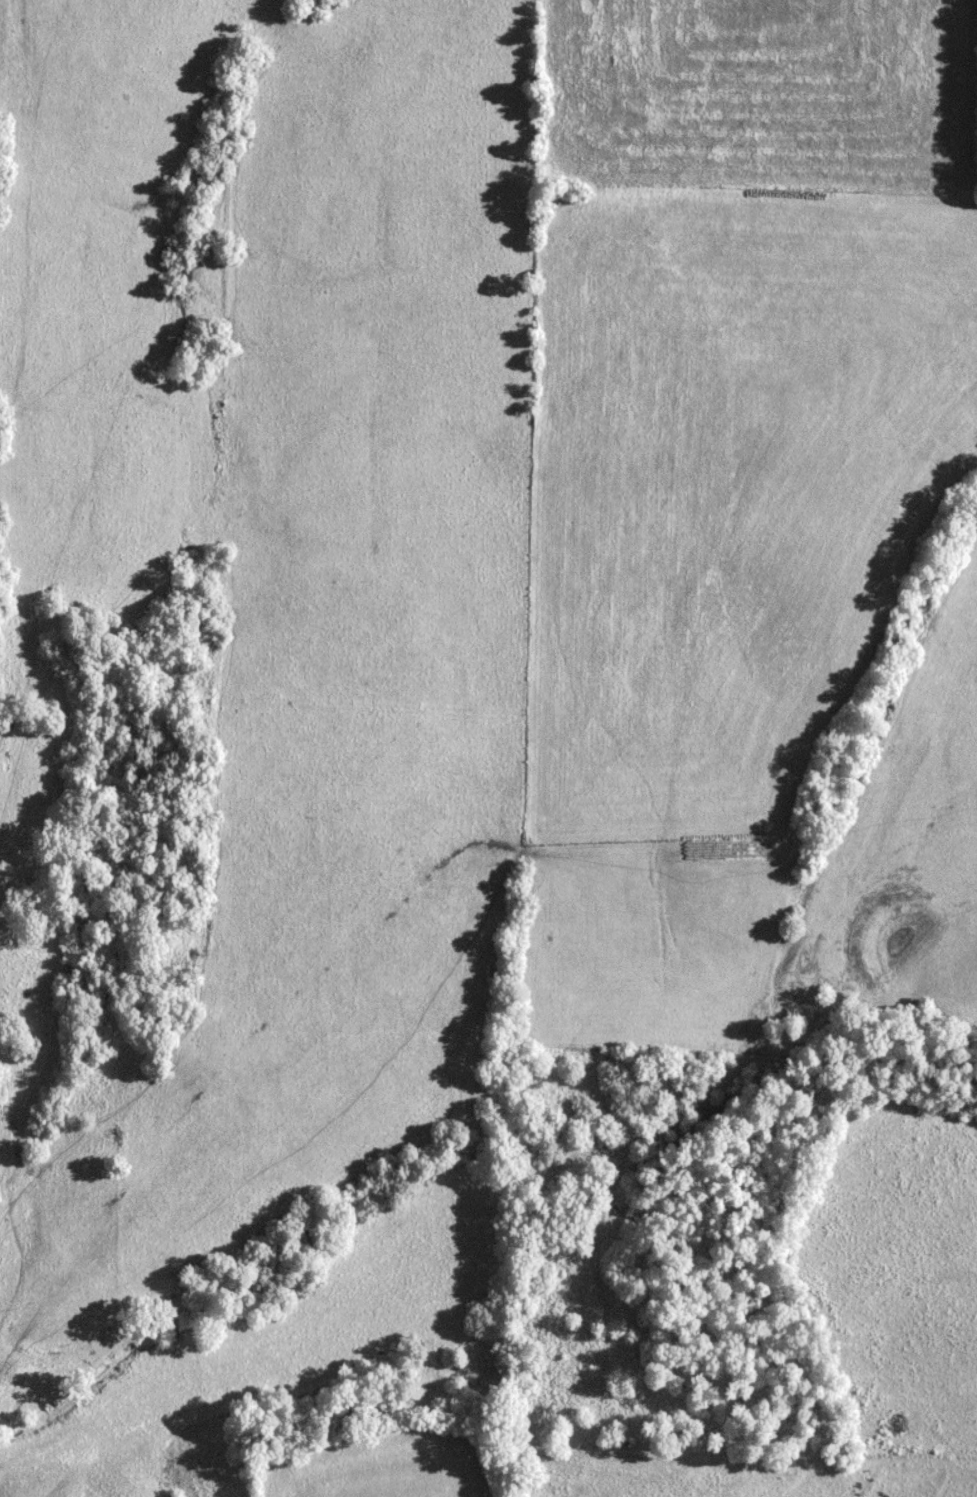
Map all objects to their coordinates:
crop: (757, 94)
crop: (729, 485)

